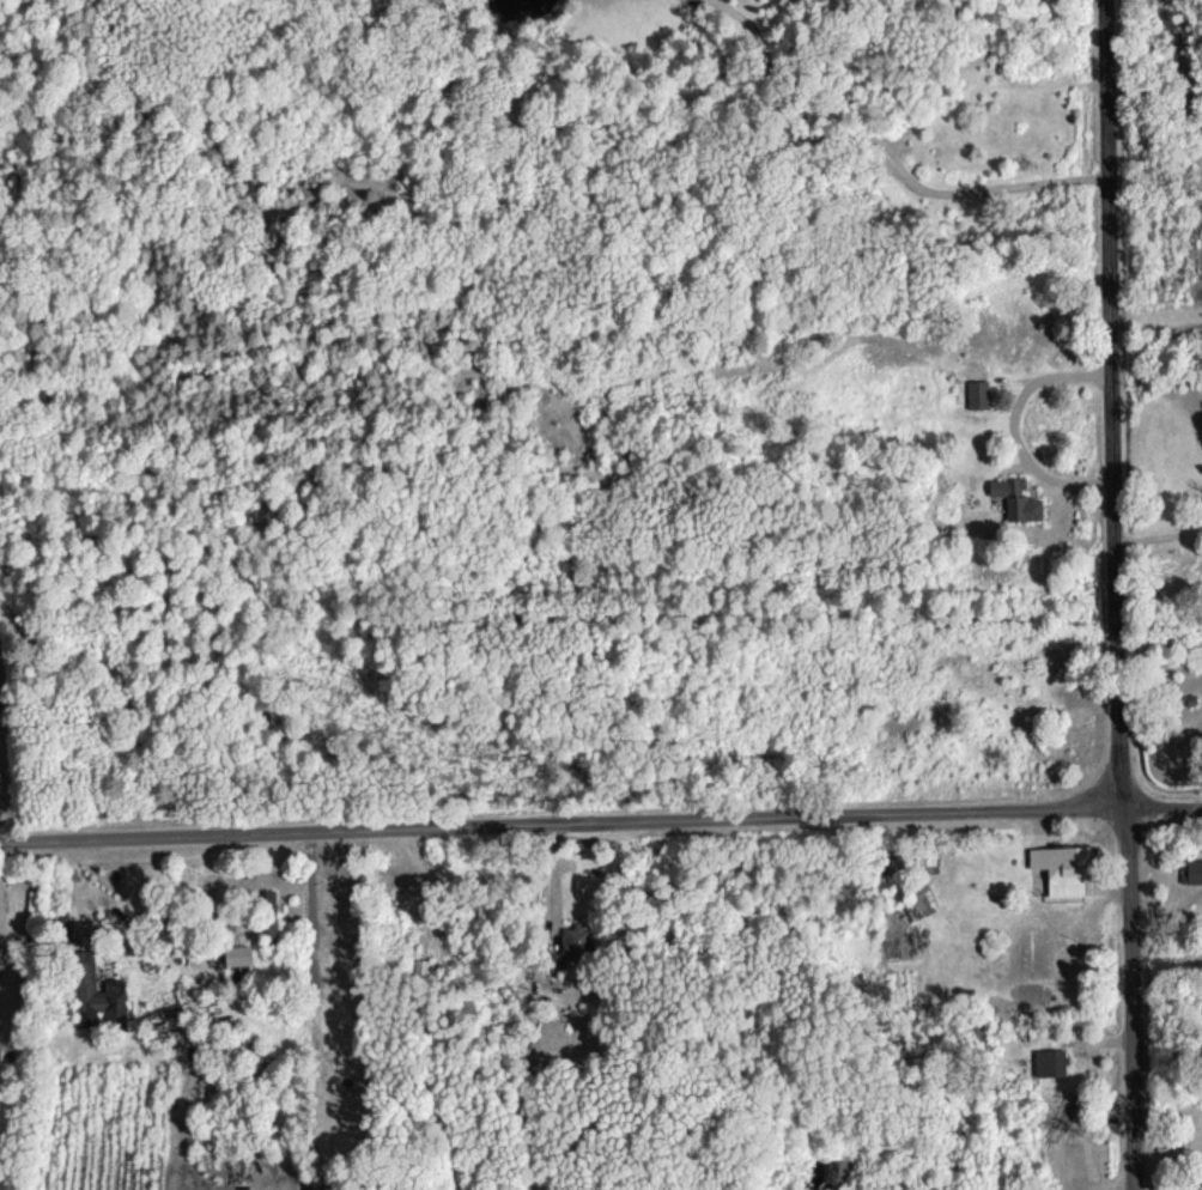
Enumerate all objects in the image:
road: (882, 139)
building: (977, 395)
road: (1012, 427)
building: (1015, 498)
road: (1159, 536)
road: (1116, 595)
road: (600, 825)
building: (925, 860)
building: (1061, 868)
building: (1190, 870)
building: (268, 915)
building: (62, 922)
building: (577, 936)
building: (236, 954)
road: (174, 955)
building: (423, 967)
building: (95, 995)
building: (1050, 1062)

